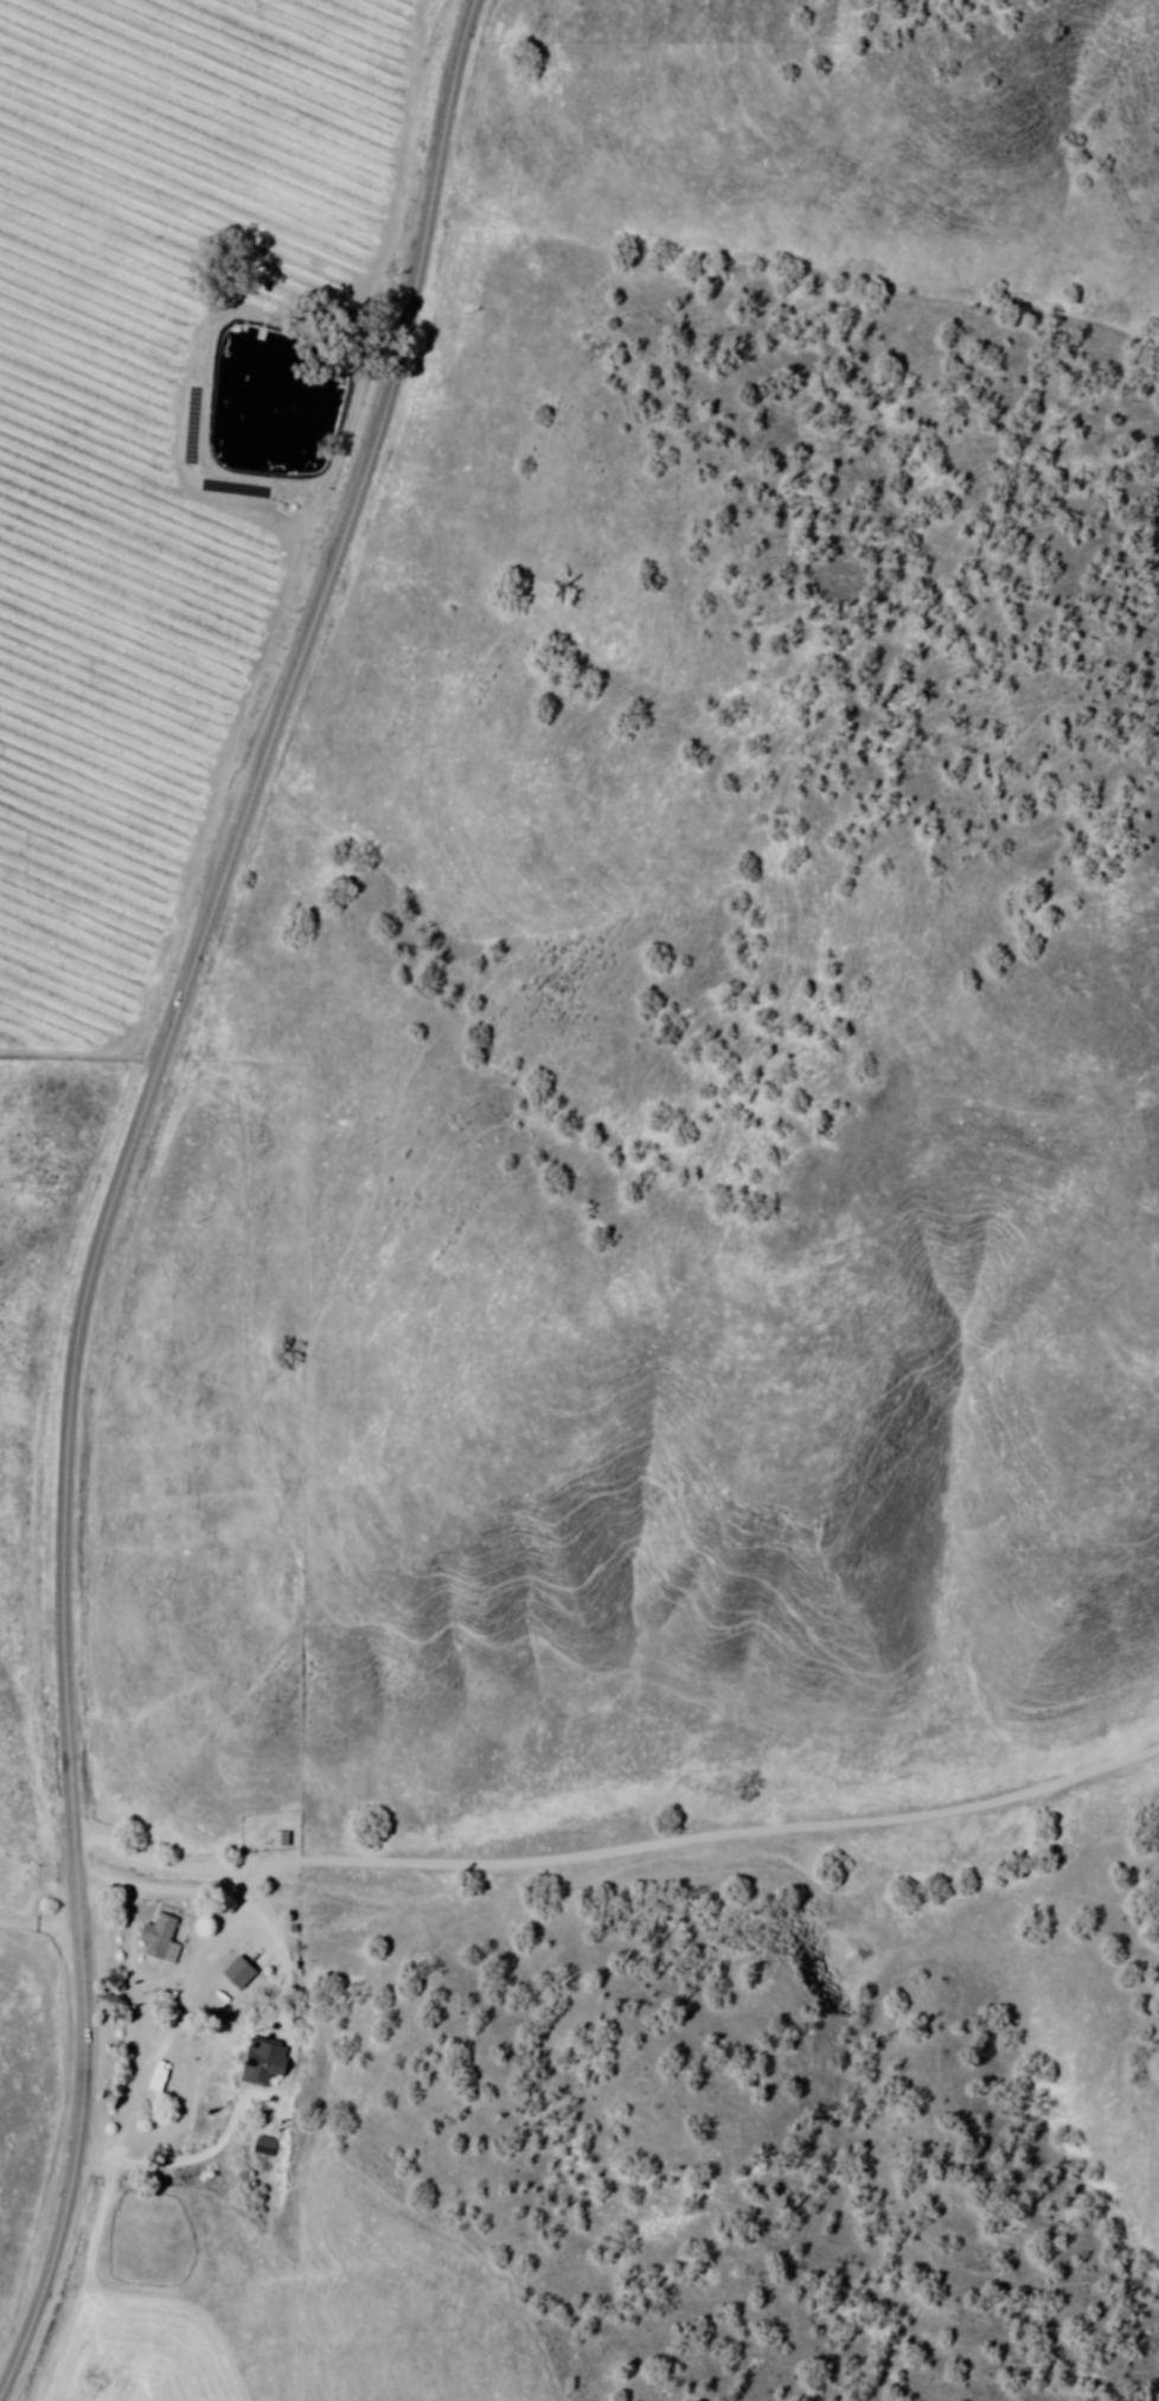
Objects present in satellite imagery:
crop: (152, 413)
road: (124, 1181)
road: (579, 1788)
building: (270, 1838)
road: (38, 1921)
building: (160, 1933)
building: (241, 1969)
building: (267, 2060)
road: (147, 2074)
building: (265, 2146)
road: (181, 2160)
road: (680, 2333)

